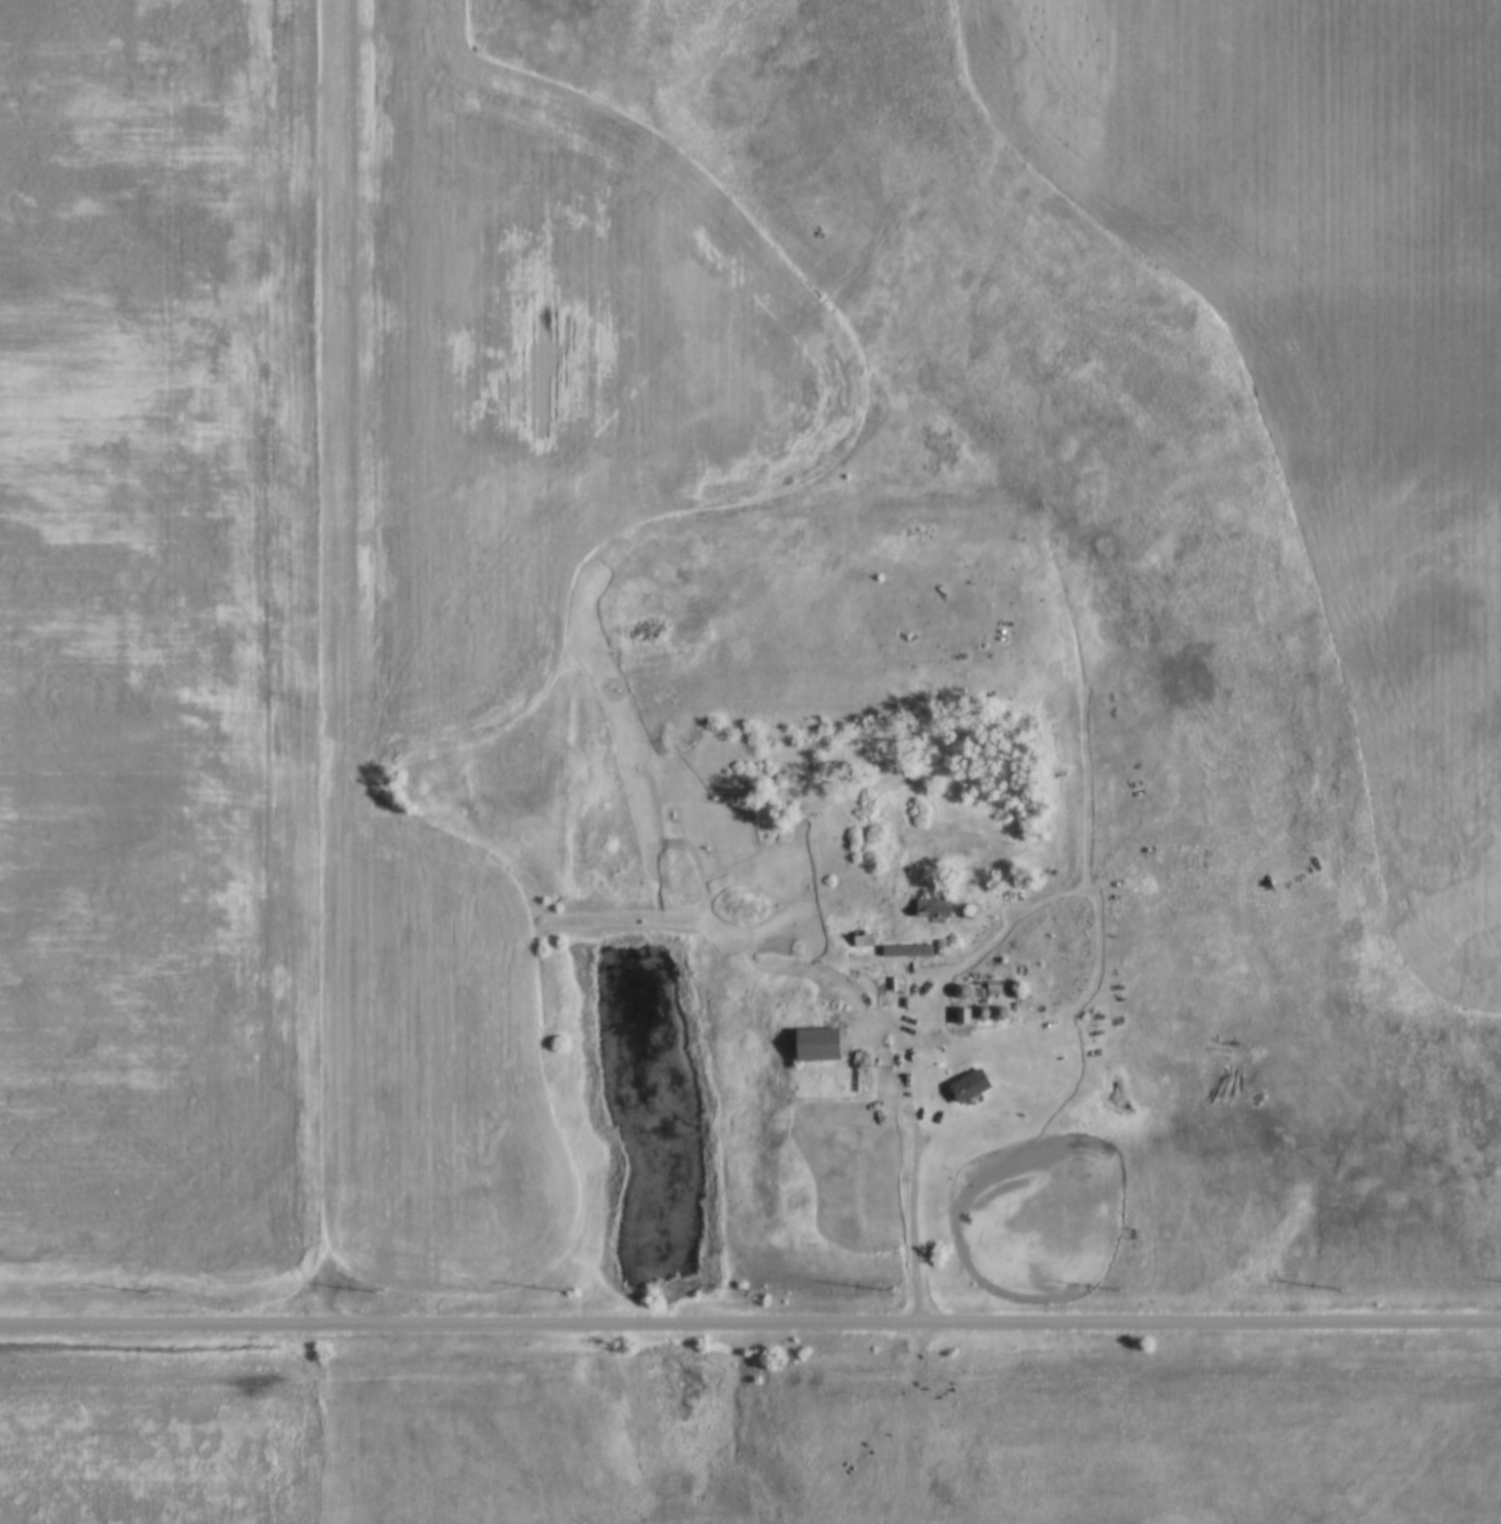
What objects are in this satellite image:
road: (324, 661)
building: (936, 908)
building: (822, 1044)
building: (973, 1085)
road: (913, 1214)
road: (750, 1323)

